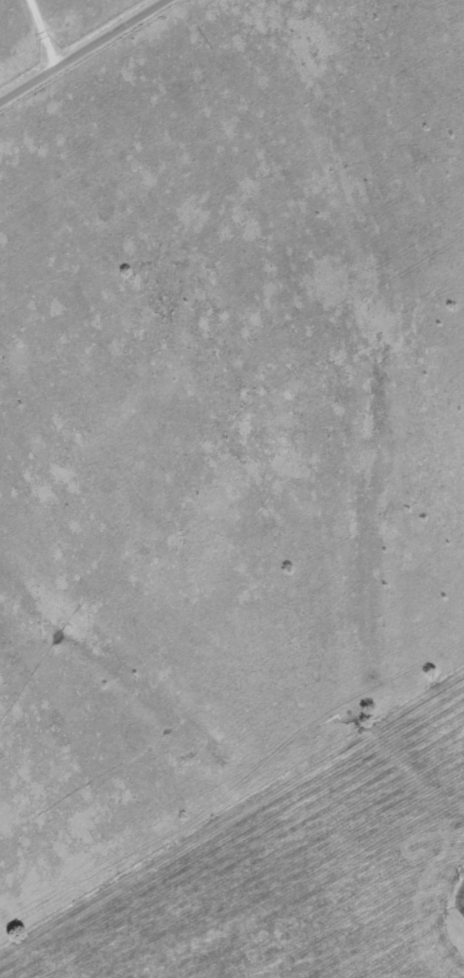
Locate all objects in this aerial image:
road: (81, 49)

